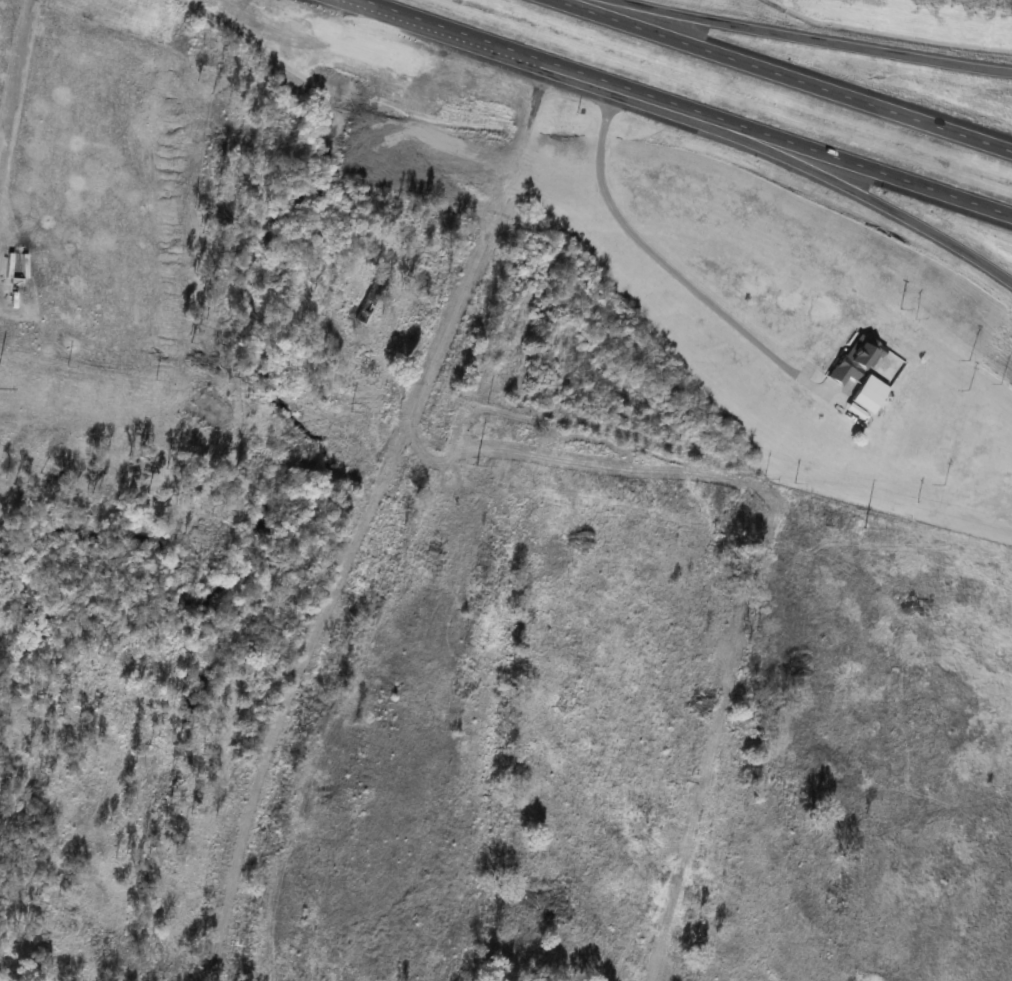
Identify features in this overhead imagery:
road: (820, 37)
road: (533, 51)
road: (801, 72)
road: (850, 158)
road: (854, 186)
road: (659, 259)
building: (369, 302)
building: (854, 359)
building: (868, 393)
power tower: (476, 464)
railway: (382, 486)
power tower: (864, 528)

